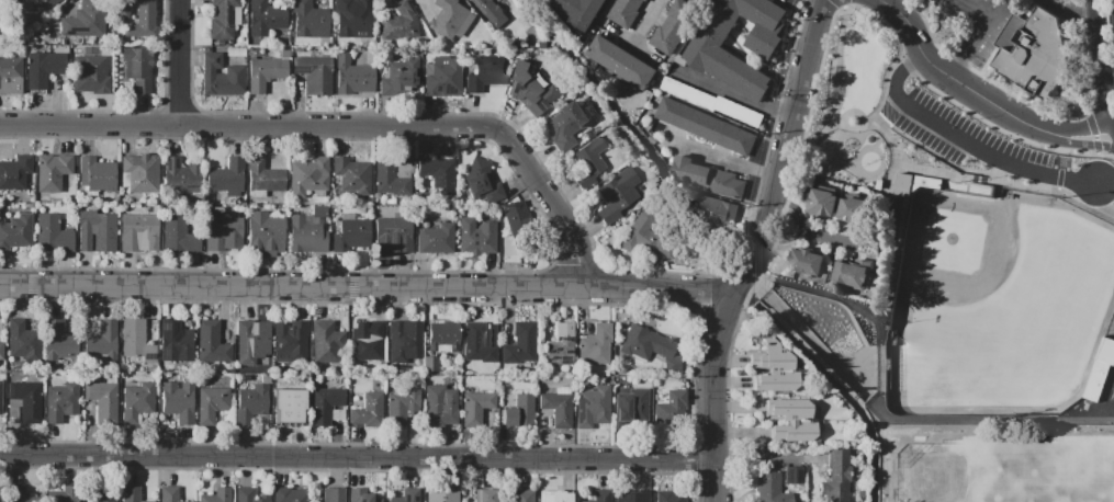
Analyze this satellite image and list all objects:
road: (1050, 0)
road: (1093, 1)
building: (45, 4)
building: (122, 8)
road: (1092, 8)
building: (493, 11)
building: (579, 12)
building: (626, 12)
road: (1071, 14)
building: (350, 16)
road: (649, 16)
building: (263, 18)
building: (221, 20)
building: (308, 20)
building: (452, 20)
building: (82, 21)
building: (140, 22)
building: (398, 22)
parking lot: (979, 22)
building: (674, 24)
road: (986, 32)
road: (915, 43)
building: (1034, 52)
building: (705, 53)
road: (181, 62)
building: (621, 64)
road: (837, 67)
building: (42, 69)
building: (137, 70)
road: (1099, 71)
building: (10, 72)
building: (484, 72)
road: (959, 72)
building: (89, 75)
building: (263, 75)
building: (314, 75)
building: (397, 77)
building: (221, 78)
building: (353, 78)
building: (443, 80)
road: (884, 84)
building: (536, 94)
road: (731, 95)
building: (711, 103)
building: (932, 107)
road: (1001, 107)
parking lot: (866, 109)
road: (810, 111)
road: (866, 122)
road: (847, 125)
road: (1090, 125)
building: (566, 126)
building: (704, 126)
road: (341, 127)
road: (821, 133)
road: (967, 141)
road: (811, 144)
road: (1078, 147)
road: (1061, 153)
road: (724, 157)
building: (584, 159)
road: (826, 167)
building: (437, 171)
building: (50, 172)
building: (14, 173)
road: (991, 173)
building: (351, 175)
building: (139, 176)
building: (180, 176)
building: (226, 176)
building: (308, 176)
building: (94, 179)
building: (389, 179)
building: (263, 180)
building: (707, 180)
building: (483, 185)
building: (618, 197)
building: (822, 203)
building: (713, 209)
building: (854, 209)
road: (894, 212)
building: (515, 216)
road: (552, 225)
road: (806, 229)
building: (15, 230)
building: (223, 230)
building: (95, 232)
building: (138, 233)
road: (762, 233)
building: (265, 235)
building: (351, 236)
building: (393, 236)
building: (55, 237)
building: (178, 237)
building: (305, 238)
building: (475, 238)
building: (643, 238)
road: (783, 239)
building: (435, 240)
building: (807, 263)
building: (852, 276)
road: (365, 288)
road: (819, 290)
park: (1002, 309)
building: (830, 311)
road: (877, 329)
road: (807, 336)
building: (441, 338)
building: (21, 339)
building: (403, 341)
building: (59, 342)
building: (249, 342)
building: (292, 342)
building: (173, 343)
building: (324, 343)
building: (99, 344)
building: (135, 344)
building: (211, 344)
building: (596, 344)
building: (367, 345)
building: (476, 345)
building: (520, 345)
building: (560, 345)
building: (644, 345)
building: (1, 352)
road: (877, 367)
building: (1101, 369)
building: (770, 370)
building: (1, 388)
building: (0, 395)
building: (101, 399)
building: (26, 401)
building: (137, 401)
building: (60, 402)
building: (177, 402)
building: (630, 402)
building: (250, 403)
building: (592, 403)
building: (211, 404)
building: (285, 406)
building: (324, 406)
building: (440, 406)
building: (402, 407)
building: (476, 408)
building: (558, 409)
building: (787, 409)
building: (669, 411)
building: (368, 412)
building: (518, 413)
road: (987, 417)
building: (790, 433)
road: (765, 453)
road: (359, 460)
park: (1112, 466)
road: (360, 468)
park: (997, 469)
building: (834, 477)
road: (718, 483)
building: (769, 489)
building: (0, 493)
building: (18, 494)
building: (63, 494)
building: (104, 494)
building: (130, 494)
building: (169, 494)
building: (288, 494)
building: (216, 495)
building: (248, 495)
building: (333, 495)
building: (671, 495)
building: (358, 497)
building: (407, 497)
building: (449, 497)
building: (484, 497)
building: (522, 497)
building: (549, 497)
building: (600, 497)
building: (637, 498)

